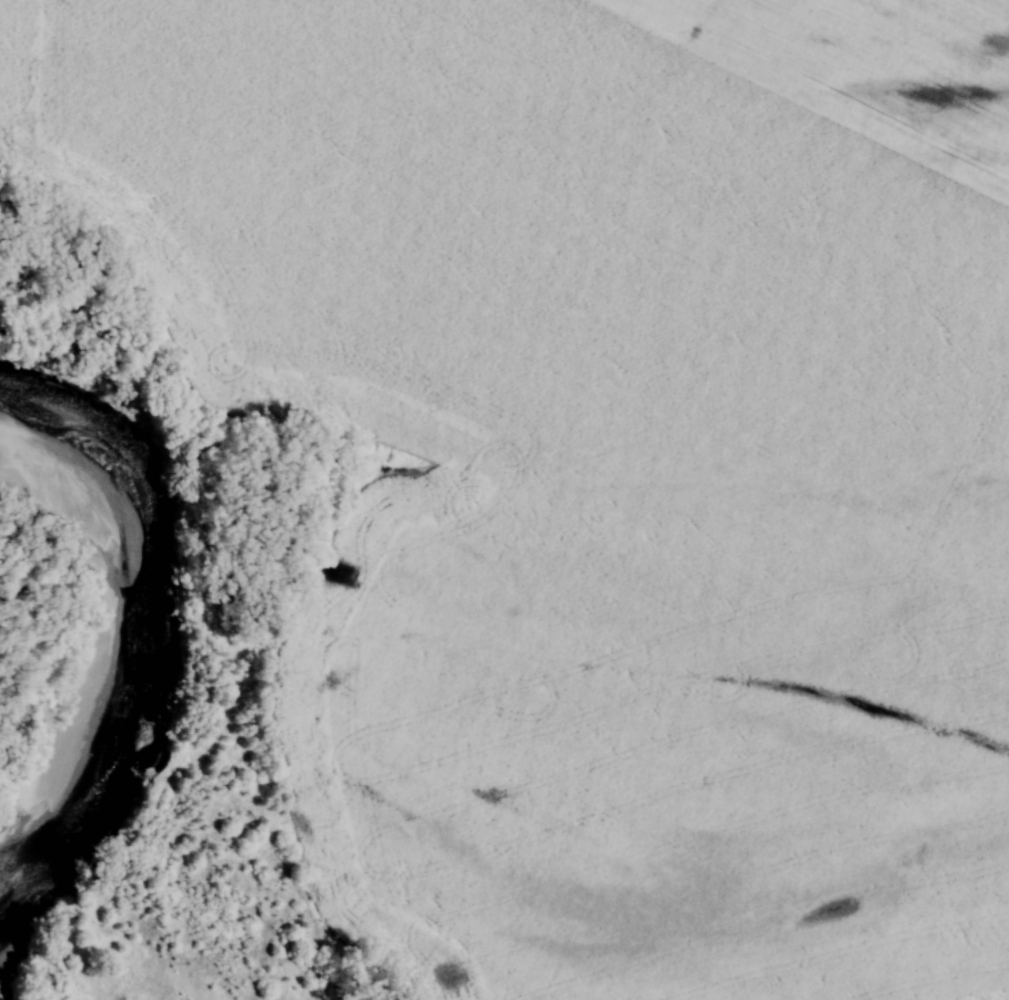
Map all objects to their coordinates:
river: (120, 603)

